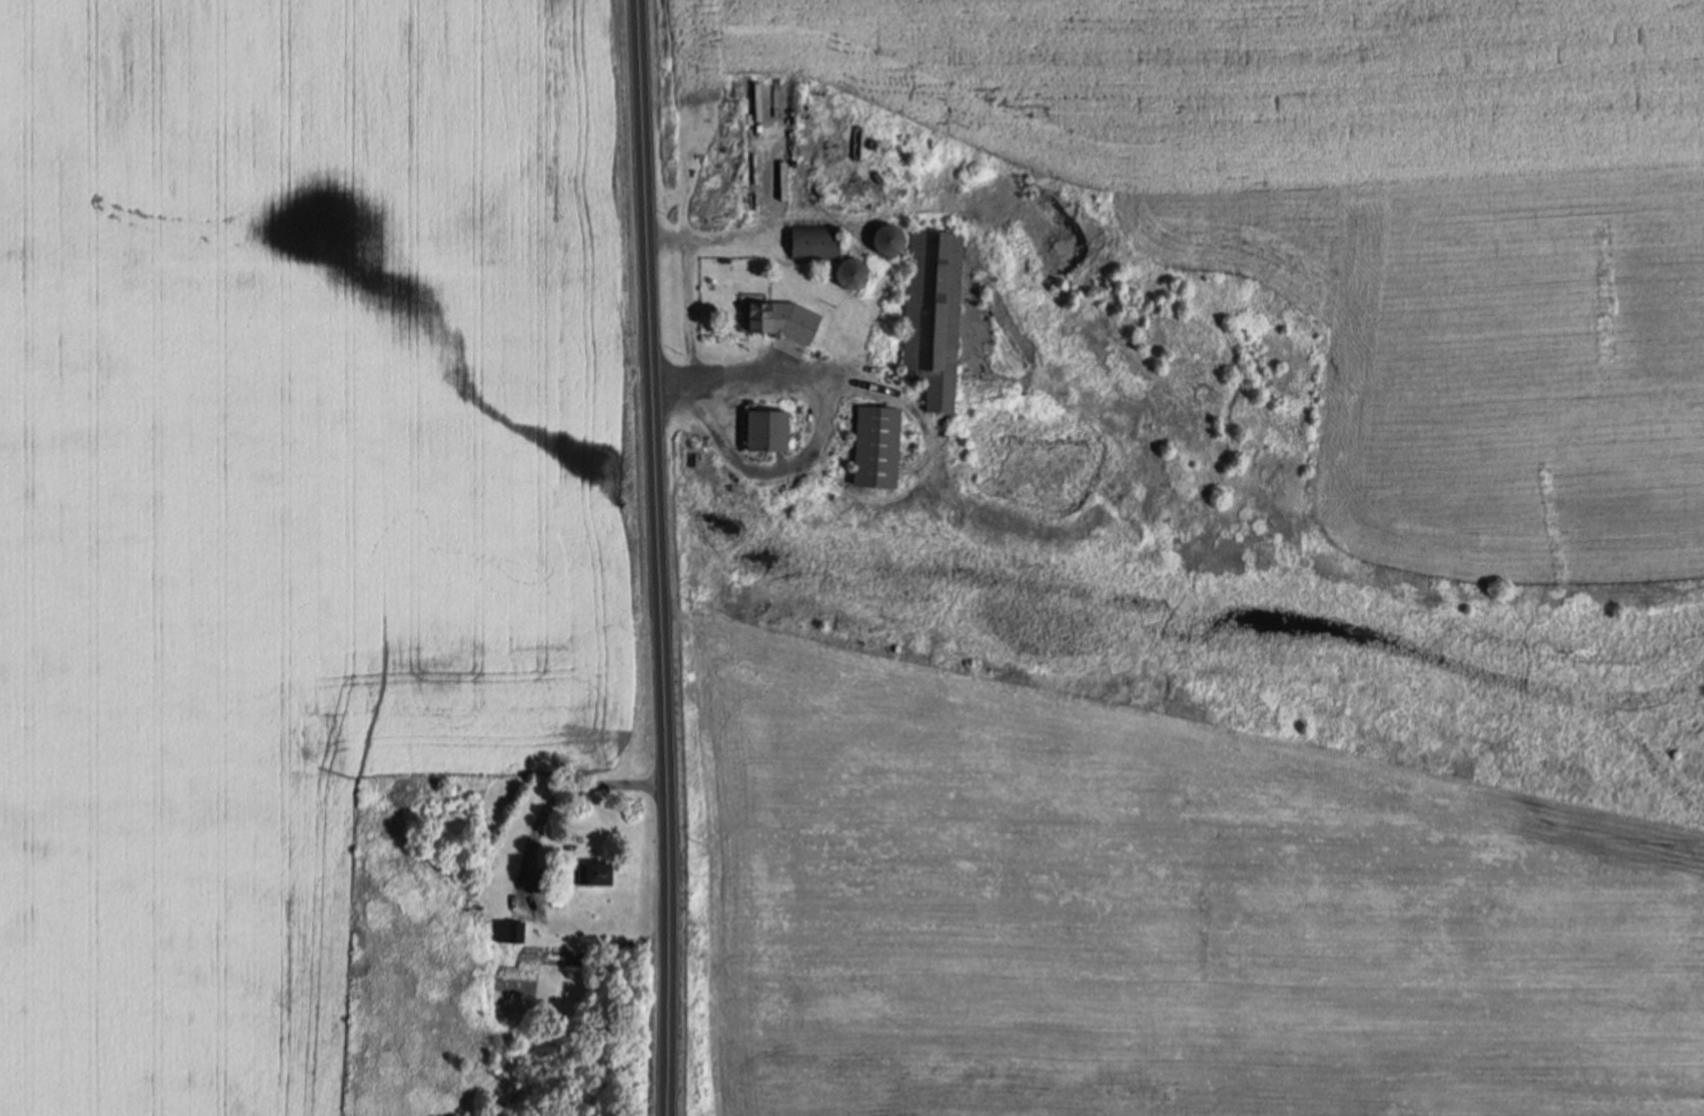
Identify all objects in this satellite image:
crop: (324, 129)
building: (811, 240)
building: (932, 319)
building: (778, 323)
building: (762, 429)
building: (873, 447)
road: (653, 557)
crop: (285, 626)
building: (592, 875)
building: (509, 932)

